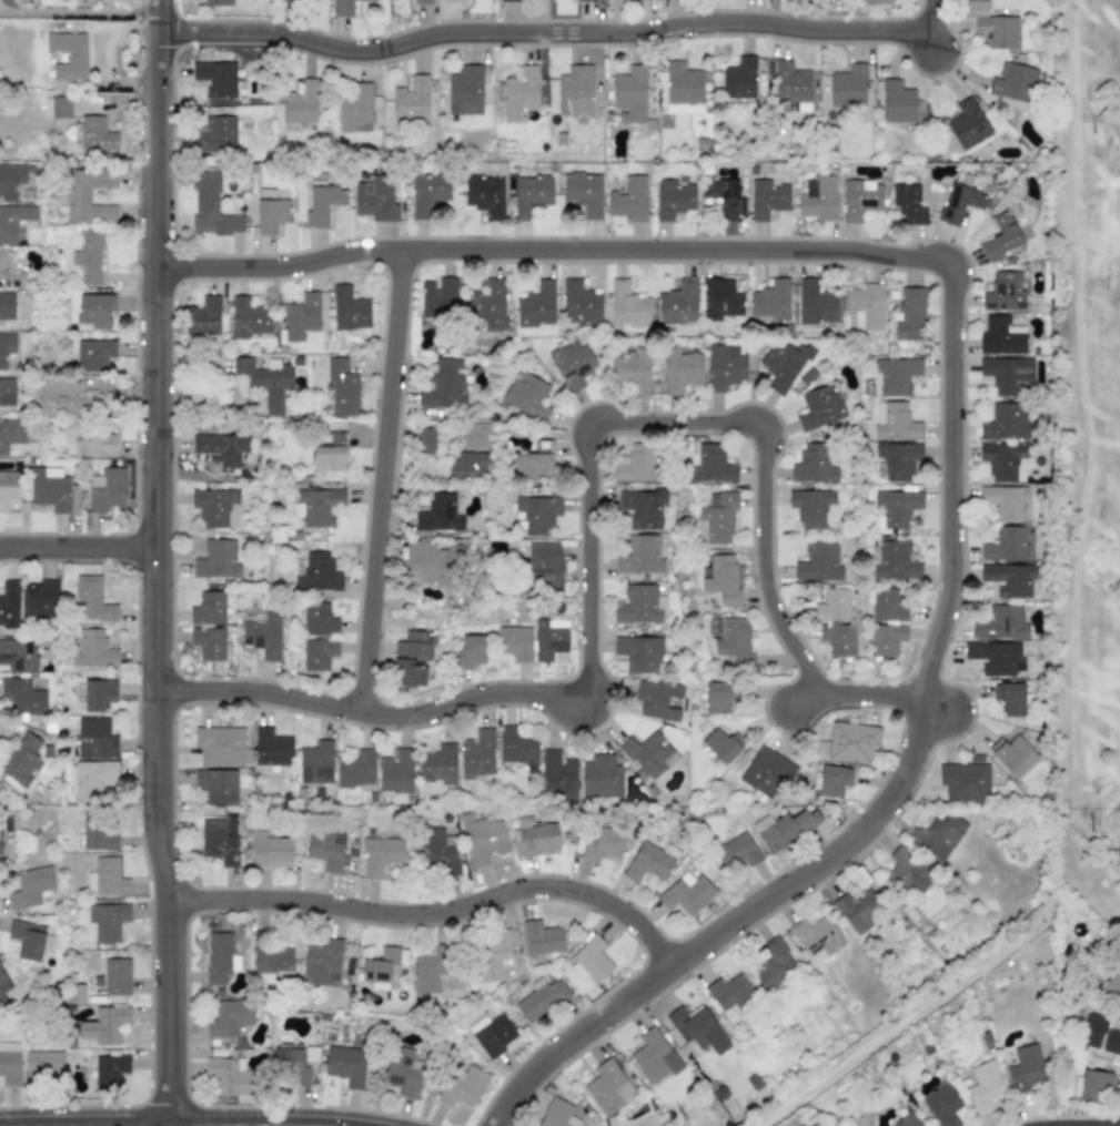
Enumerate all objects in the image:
building: (294, 0)
building: (367, 0)
building: (508, 0)
building: (585, 0)
building: (422, 1)
building: (453, 1)
building: (216, 2)
building: (875, 2)
building: (342, 7)
road: (74, 12)
road: (925, 12)
road: (534, 26)
building: (992, 27)
building: (68, 59)
building: (215, 78)
building: (739, 78)
building: (788, 81)
building: (847, 85)
building: (1013, 85)
building: (683, 89)
building: (465, 90)
building: (519, 92)
building: (574, 92)
building: (630, 94)
building: (411, 100)
building: (897, 101)
building: (300, 103)
building: (57, 106)
building: (355, 109)
building: (967, 123)
building: (97, 134)
building: (215, 134)
building: (11, 179)
building: (583, 192)
building: (427, 193)
building: (531, 194)
building: (724, 194)
building: (87, 195)
building: (485, 195)
building: (766, 197)
building: (817, 197)
building: (375, 199)
building: (628, 199)
building: (673, 199)
building: (860, 199)
building: (960, 199)
building: (908, 201)
building: (323, 203)
building: (211, 206)
building: (271, 215)
building: (13, 221)
building: (1000, 237)
road: (553, 247)
building: (89, 254)
building: (9, 270)
building: (1003, 292)
building: (438, 297)
building: (720, 298)
building: (769, 301)
building: (579, 302)
building: (678, 303)
building: (815, 303)
building: (7, 305)
building: (487, 305)
building: (537, 305)
building: (627, 305)
building: (865, 306)
building: (90, 308)
building: (349, 308)
building: (909, 315)
building: (203, 316)
building: (302, 316)
building: (249, 318)
building: (1001, 335)
building: (7, 347)
building: (94, 354)
building: (572, 364)
building: (783, 365)
building: (724, 366)
building: (633, 371)
building: (680, 372)
building: (896, 375)
building: (1008, 375)
building: (266, 382)
building: (444, 385)
building: (342, 387)
building: (7, 392)
building: (527, 396)
building: (56, 397)
building: (819, 407)
building: (895, 422)
building: (1005, 422)
building: (10, 434)
building: (474, 435)
building: (425, 440)
building: (90, 442)
building: (222, 447)
building: (330, 454)
building: (897, 459)
building: (1003, 460)
building: (470, 464)
building: (637, 464)
building: (813, 464)
building: (712, 465)
road: (383, 479)
building: (9, 487)
building: (50, 489)
building: (107, 489)
road: (586, 493)
building: (1006, 501)
building: (319, 505)
building: (216, 507)
building: (643, 507)
building: (811, 507)
building: (895, 507)
building: (537, 513)
building: (440, 514)
building: (718, 518)
building: (1006, 545)
road: (75, 548)
building: (640, 555)
building: (216, 559)
building: (896, 560)
building: (547, 561)
road: (151, 562)
building: (818, 562)
building: (433, 564)
building: (317, 572)
building: (723, 579)
building: (1010, 579)
building: (40, 598)
building: (91, 600)
building: (9, 601)
building: (639, 605)
building: (319, 619)
building: (836, 621)
building: (886, 621)
building: (1001, 623)
building: (209, 627)
building: (263, 636)
building: (549, 638)
building: (730, 639)
building: (515, 642)
building: (415, 645)
building: (92, 650)
building: (471, 650)
building: (638, 652)
building: (319, 653)
building: (19, 655)
building: (993, 657)
building: (408, 672)
building: (99, 693)
building: (23, 696)
building: (1009, 697)
building: (717, 698)
building: (660, 701)
building: (94, 738)
building: (851, 742)
building: (219, 744)
building: (722, 744)
building: (271, 748)
building: (516, 748)
building: (476, 753)
building: (648, 753)
building: (1011, 754)
building: (22, 761)
building: (315, 762)
building: (437, 763)
building: (356, 769)
building: (396, 771)
building: (558, 771)
building: (766, 771)
building: (601, 777)
building: (92, 779)
building: (965, 781)
building: (831, 782)
building: (216, 785)
road: (891, 789)
building: (784, 828)
building: (936, 835)
building: (100, 836)
building: (536, 836)
building: (483, 840)
building: (219, 842)
building: (0, 843)
building: (602, 844)
building: (326, 850)
building: (270, 851)
building: (737, 851)
building: (438, 852)
building: (380, 854)
building: (650, 861)
building: (907, 871)
building: (107, 878)
building: (30, 886)
building: (686, 893)
building: (856, 909)
road: (431, 910)
building: (107, 921)
building: (542, 937)
building: (816, 937)
building: (27, 939)
building: (493, 952)
building: (220, 956)
building: (272, 958)
building: (591, 960)
building: (322, 963)
building: (381, 965)
building: (774, 965)
building: (433, 970)
building: (117, 976)
building: (3, 985)
building: (1112, 985)
building: (729, 991)
building: (541, 998)
building: (230, 1016)
building: (104, 1025)
building: (696, 1029)
building: (1091, 1029)
building: (493, 1034)
building: (1111, 1042)
building: (654, 1057)
building: (293, 1063)
building: (9, 1064)
building: (346, 1065)
building: (44, 1066)
building: (1025, 1067)
building: (403, 1071)
building: (109, 1072)
building: (231, 1075)
building: (1091, 1085)
building: (462, 1086)
building: (608, 1086)
building: (983, 1086)
building: (942, 1105)
building: (557, 1113)
building: (906, 1120)
road: (1071, 1123)
road: (184, 1124)
road: (291, 1124)

